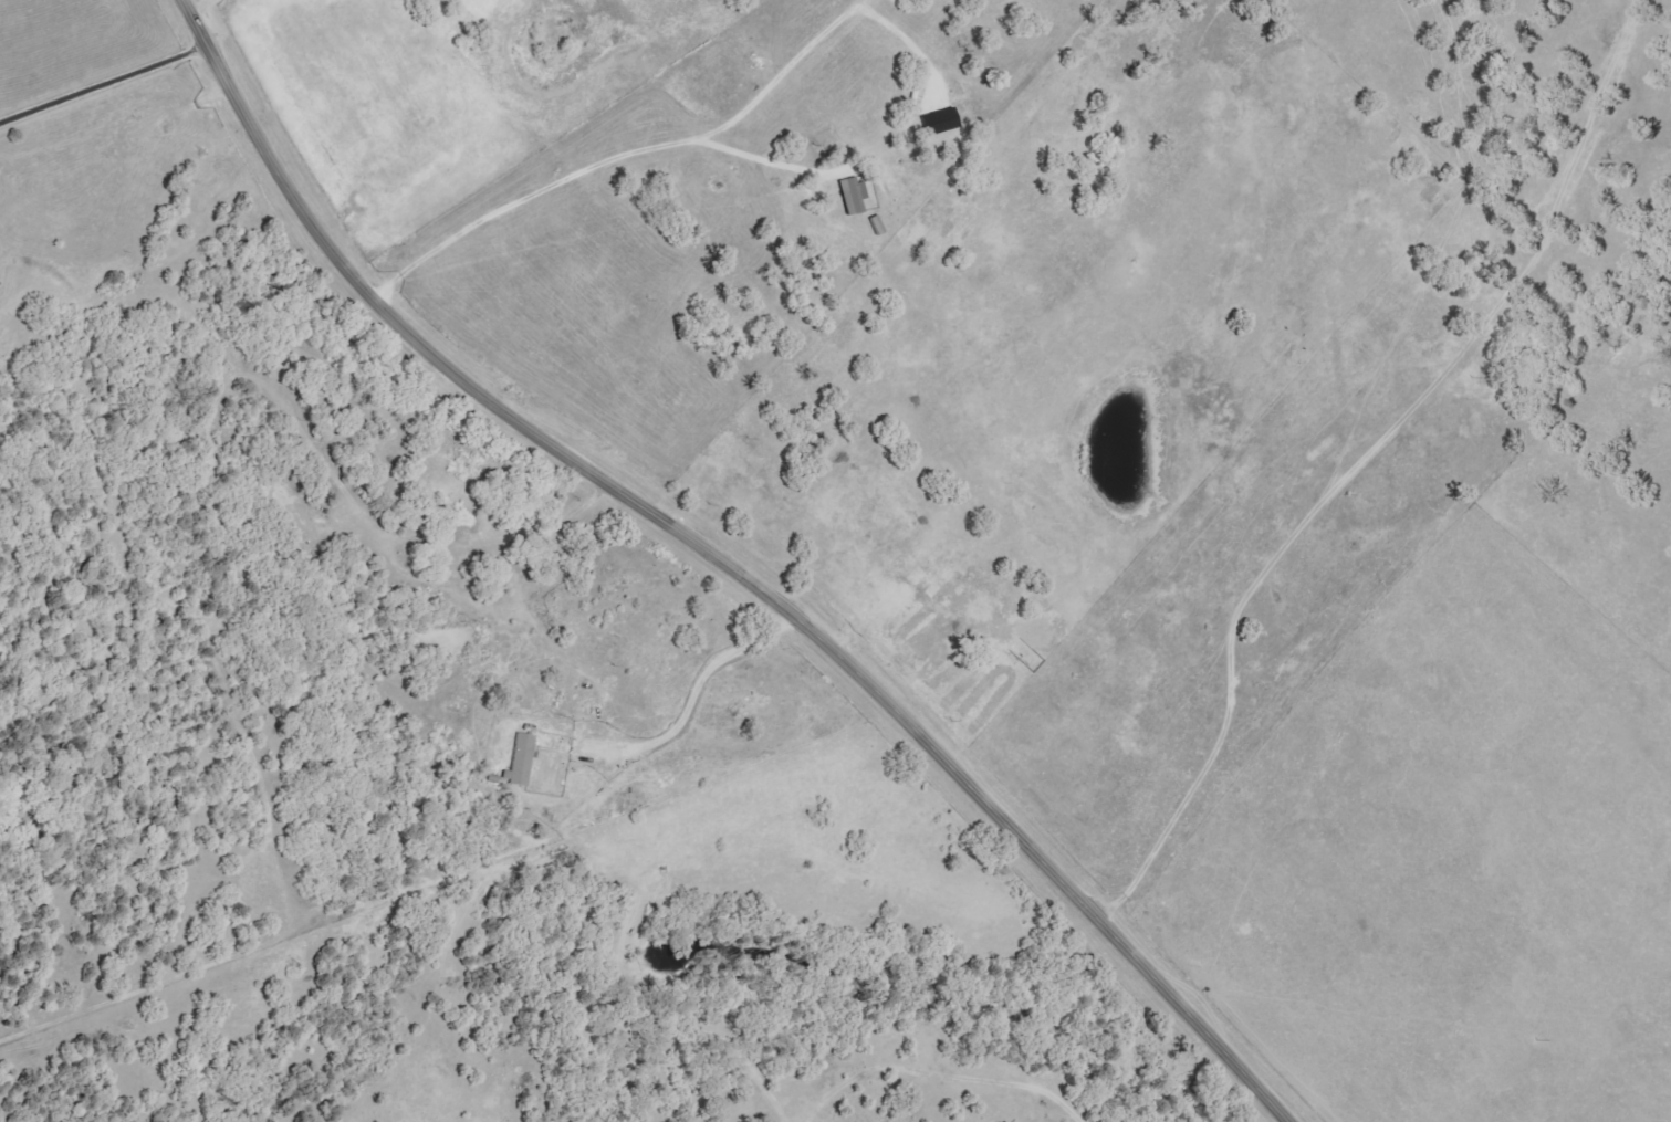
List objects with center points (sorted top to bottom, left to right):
road: (199, 7)
road: (103, 84)
building: (938, 120)
road: (617, 157)
road: (723, 563)
road: (1169, 579)
road: (692, 698)
building: (520, 761)

